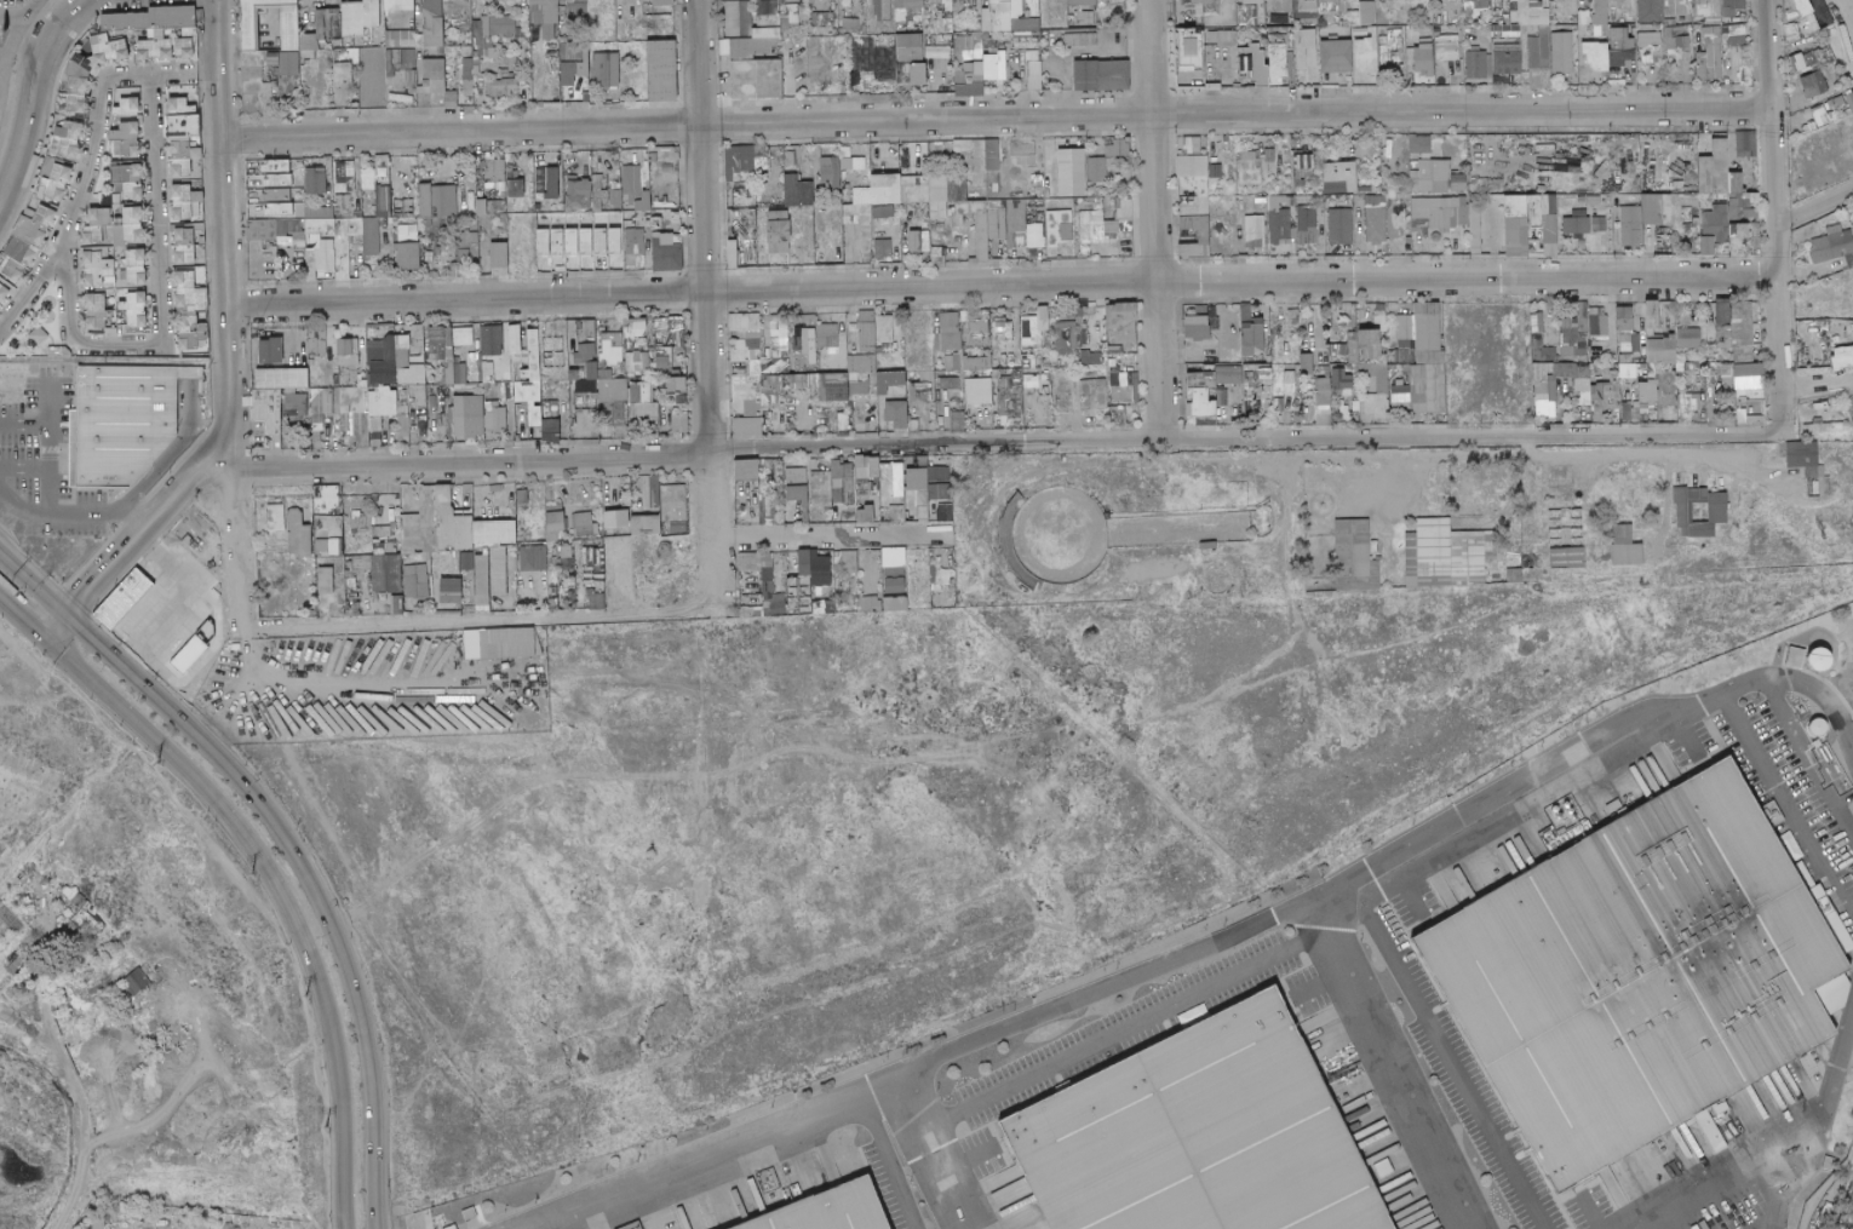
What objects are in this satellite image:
power tower: (159, 763)
power tower: (306, 995)
power tower: (325, 1126)

